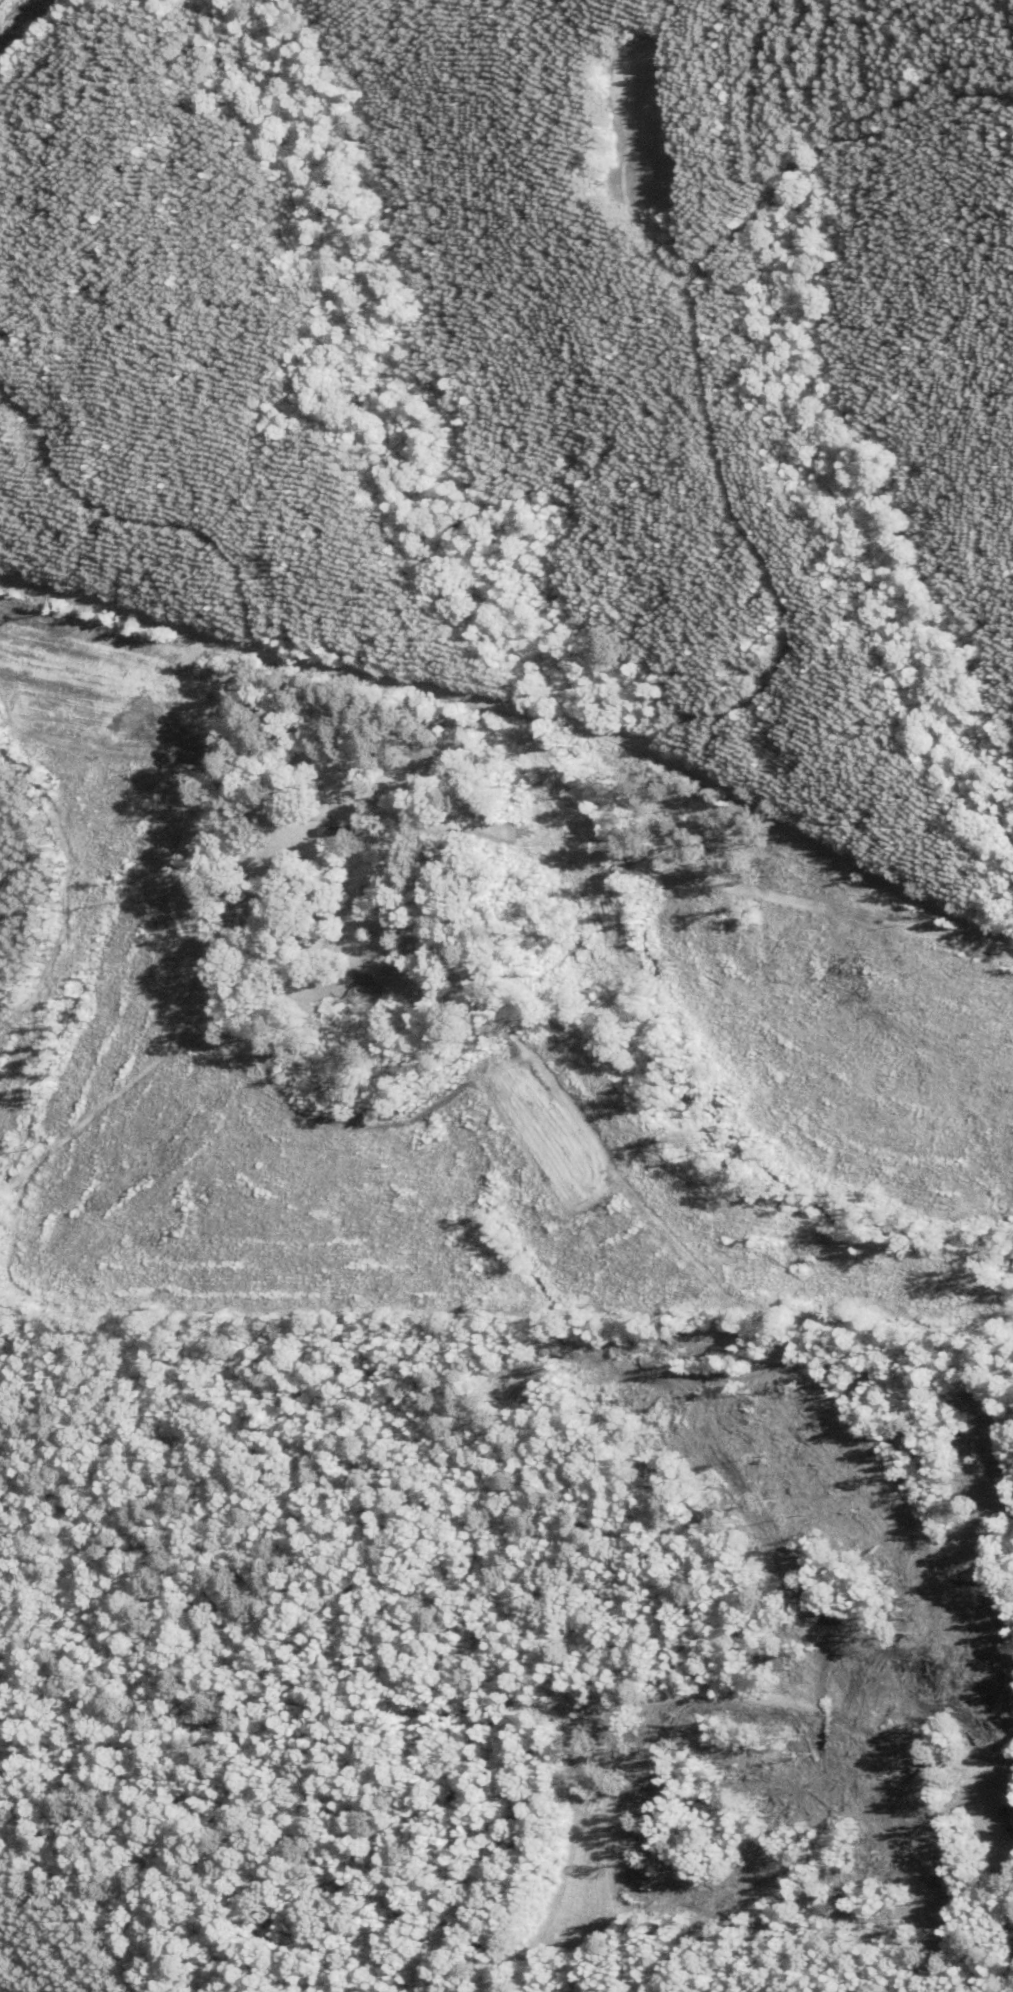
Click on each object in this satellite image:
road: (523, 712)

